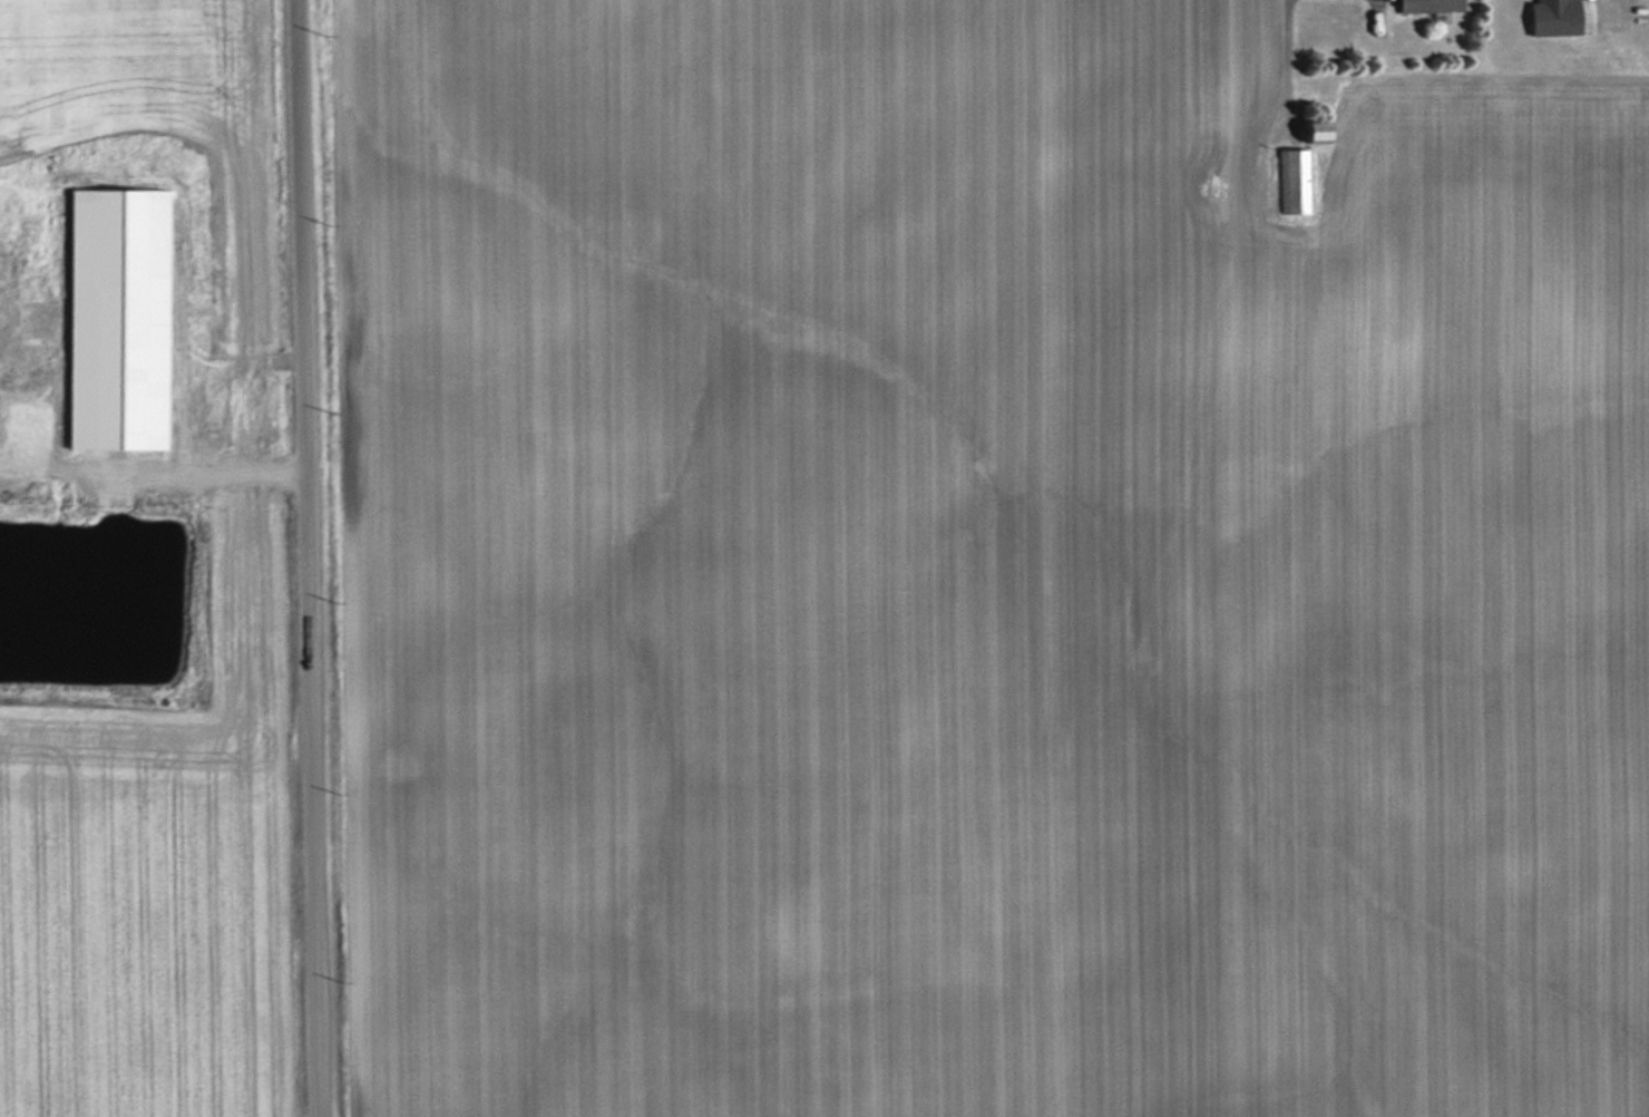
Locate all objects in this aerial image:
building: (1422, 6)
building: (1549, 18)
building: (1304, 130)
building: (1292, 181)
building: (104, 319)
building: (1, 390)
road: (305, 558)

